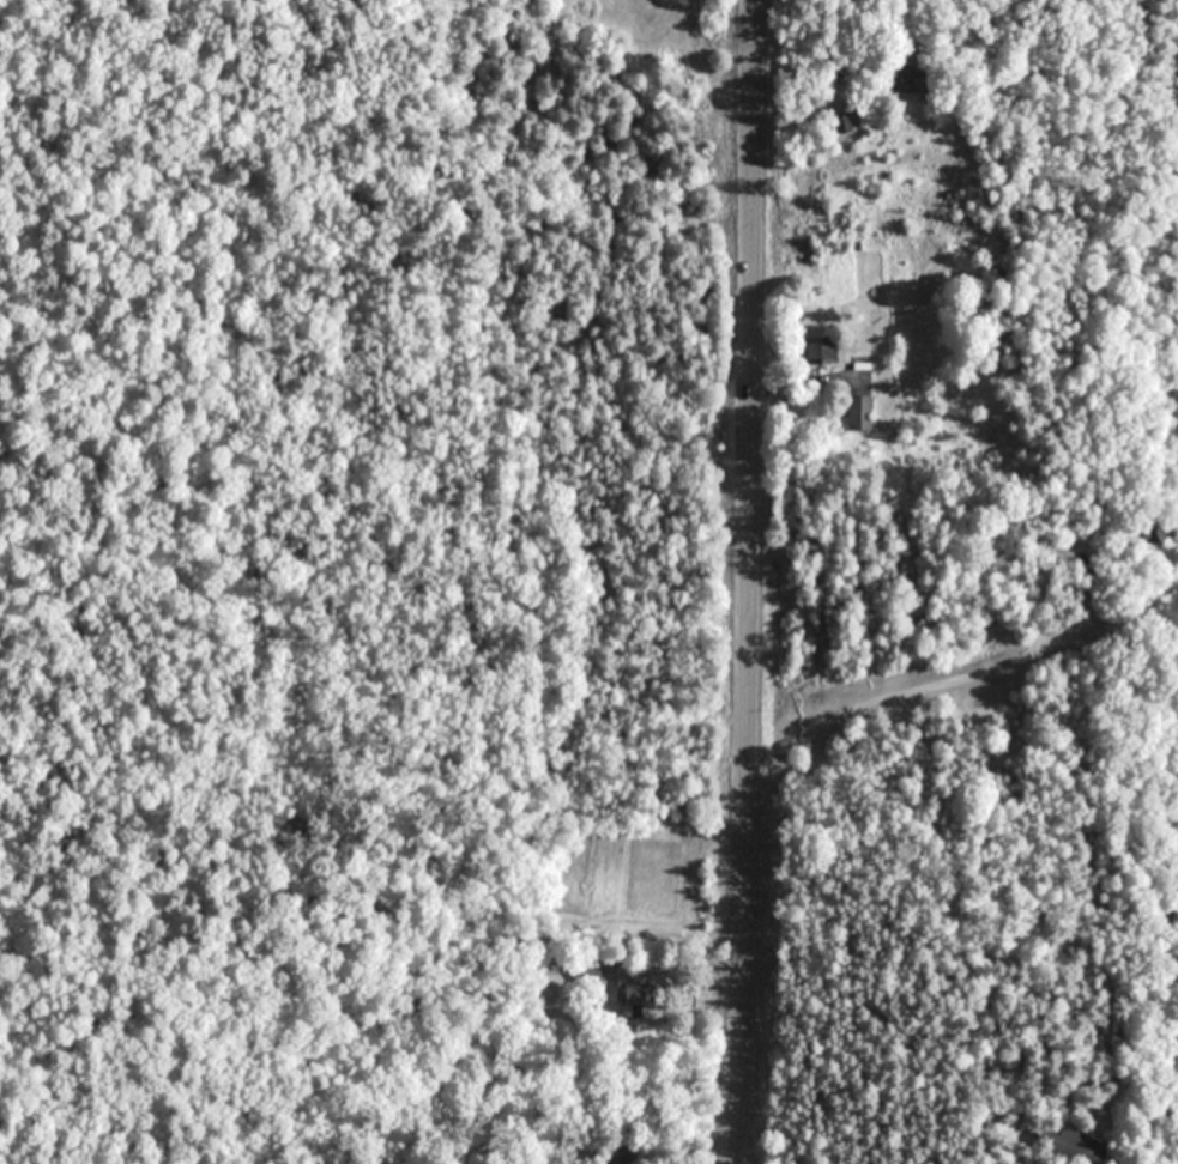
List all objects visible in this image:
building: (908, 77)
building: (820, 351)
building: (860, 413)
building: (1153, 531)
road: (748, 582)
road: (904, 689)
building: (633, 992)
road: (839, 996)
building: (1075, 1147)

